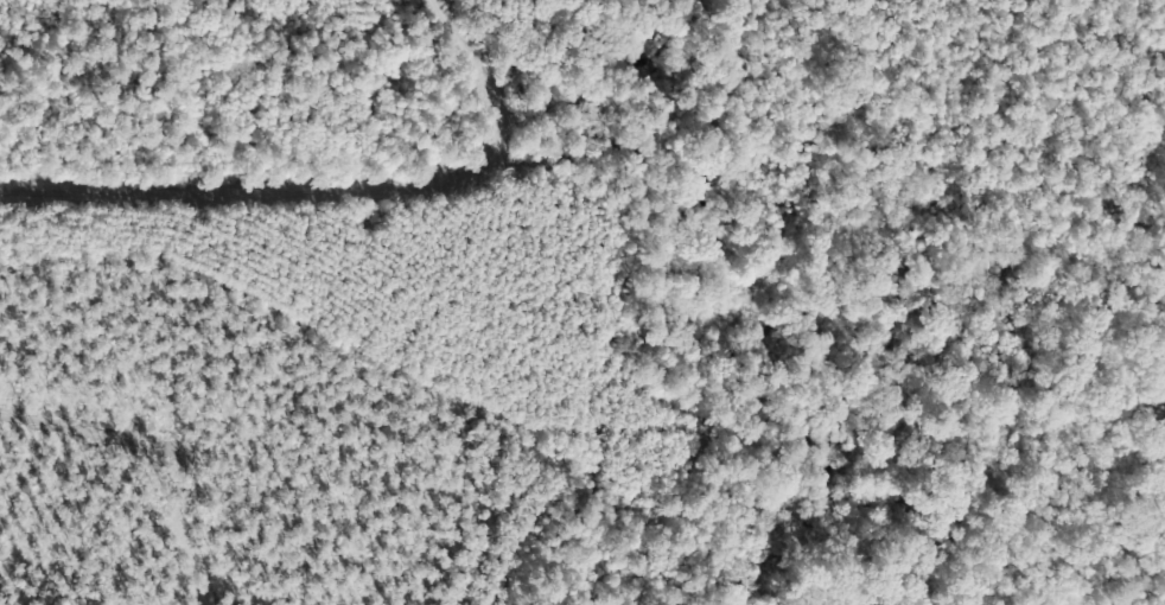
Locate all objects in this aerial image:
road: (477, 167)
road: (144, 191)

